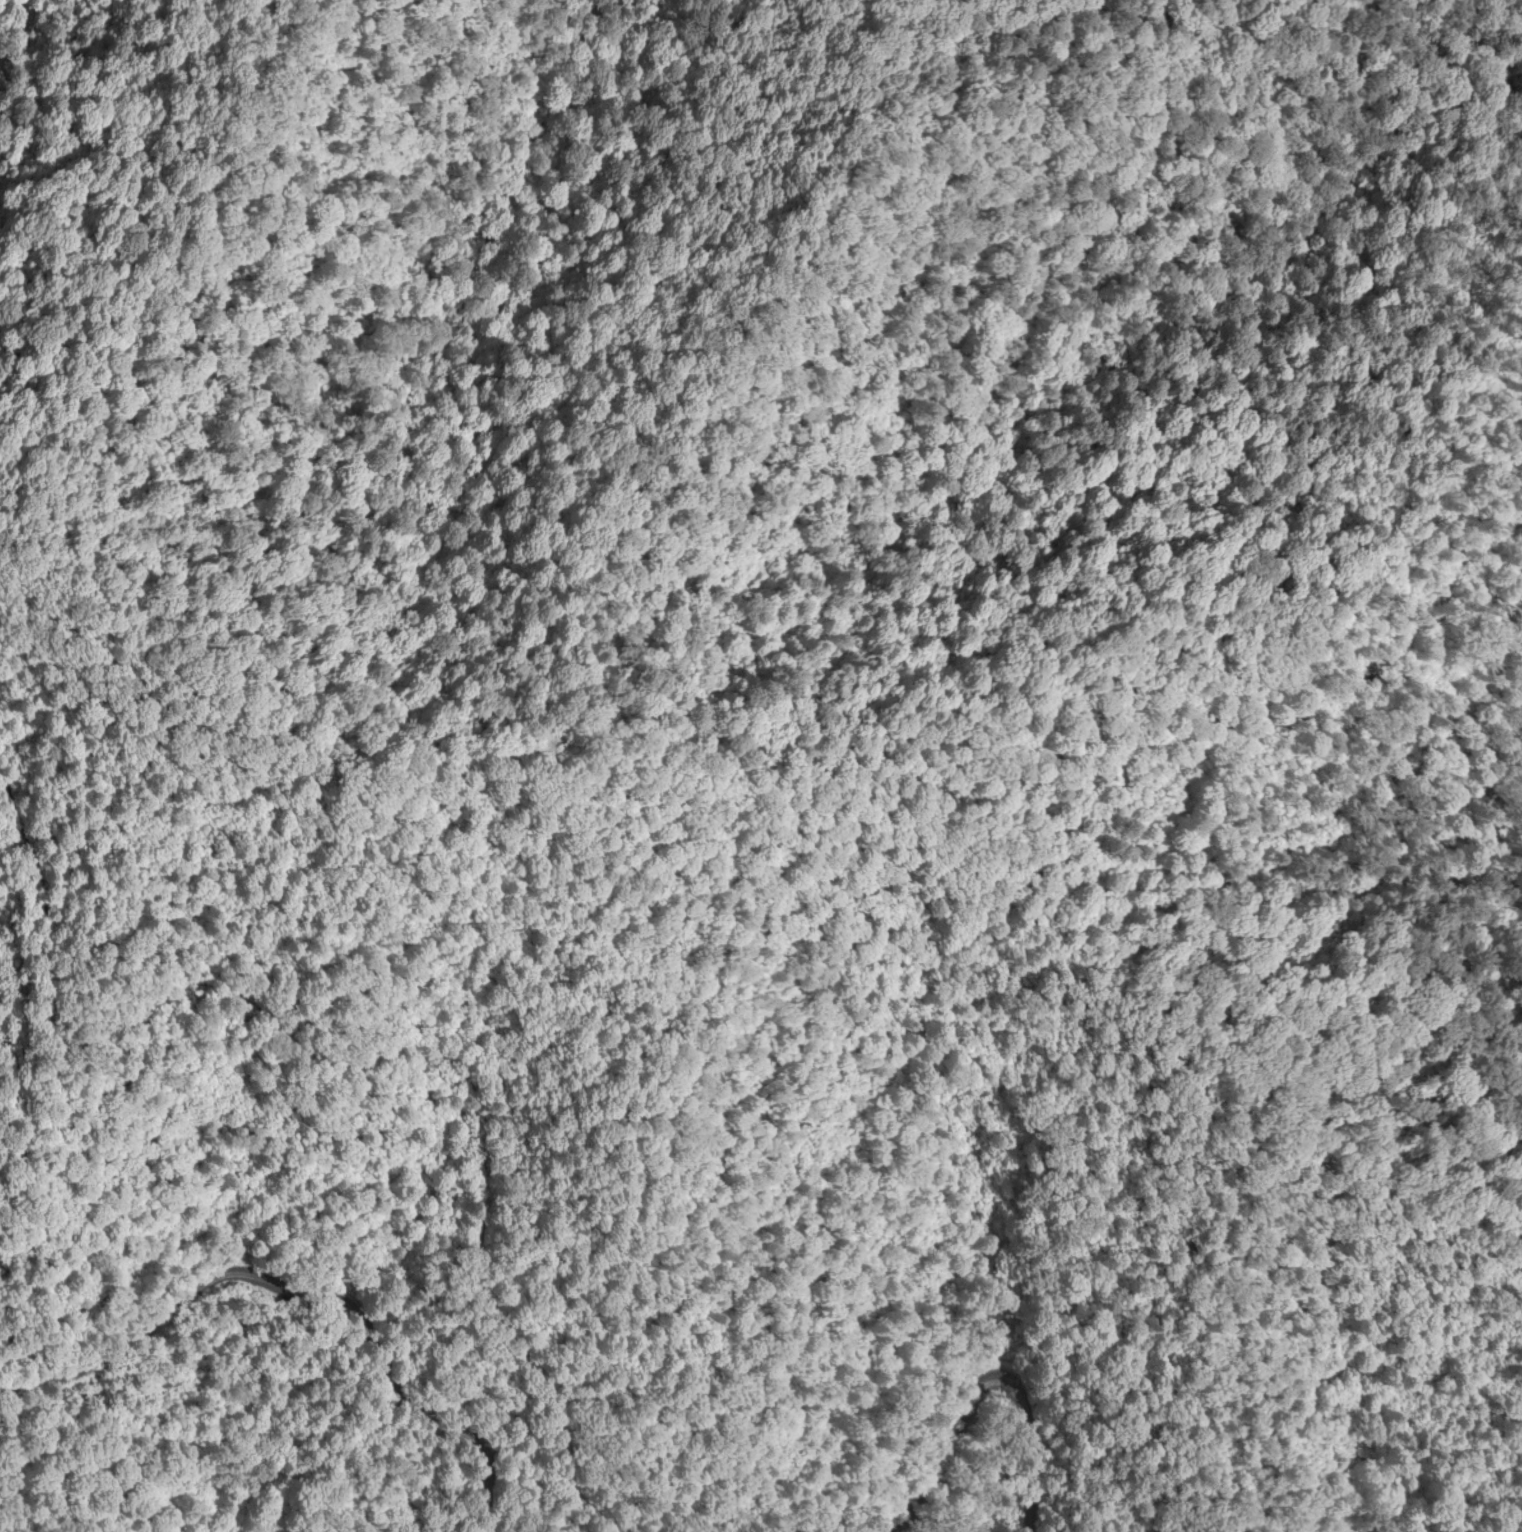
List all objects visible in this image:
road: (124, 1022)
road: (302, 1288)
road: (488, 1292)
road: (990, 1382)

